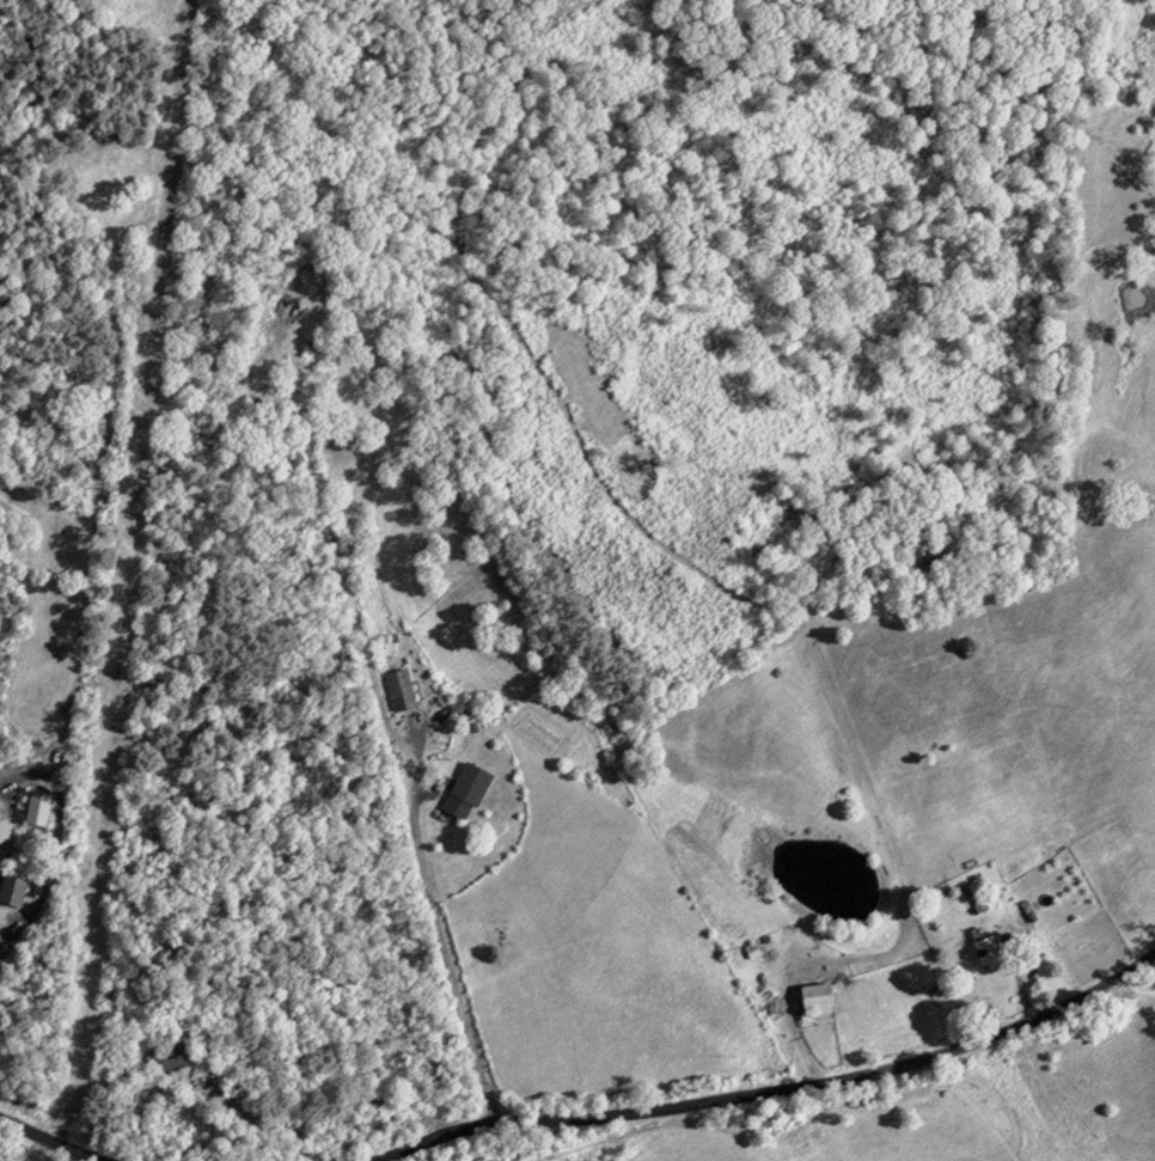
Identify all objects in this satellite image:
building: (931, 552)
building: (402, 689)
building: (469, 790)
building: (39, 806)
building: (985, 902)
building: (992, 951)
building: (819, 997)
building: (173, 1058)
road: (758, 1089)
road: (155, 1124)
road: (65, 1137)

